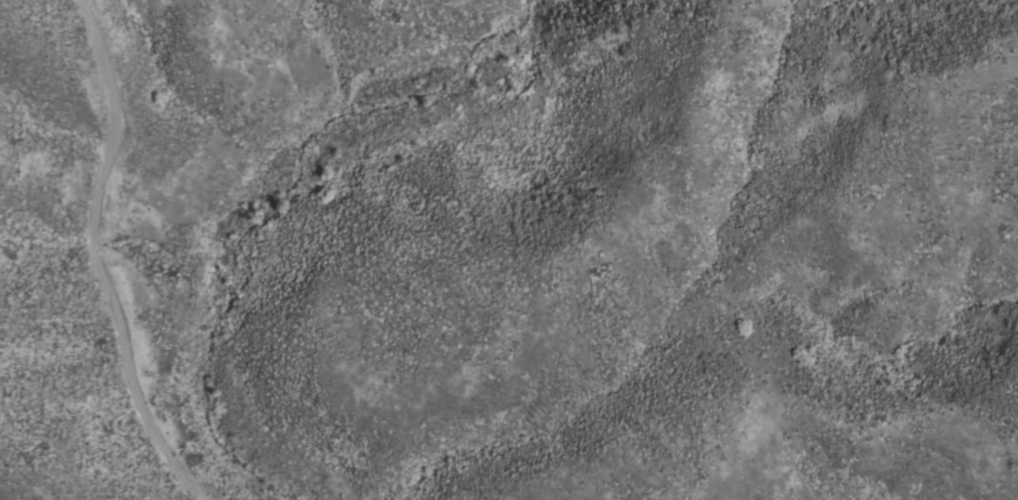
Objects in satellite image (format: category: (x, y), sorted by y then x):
road: (86, 259)
park: (396, 281)

